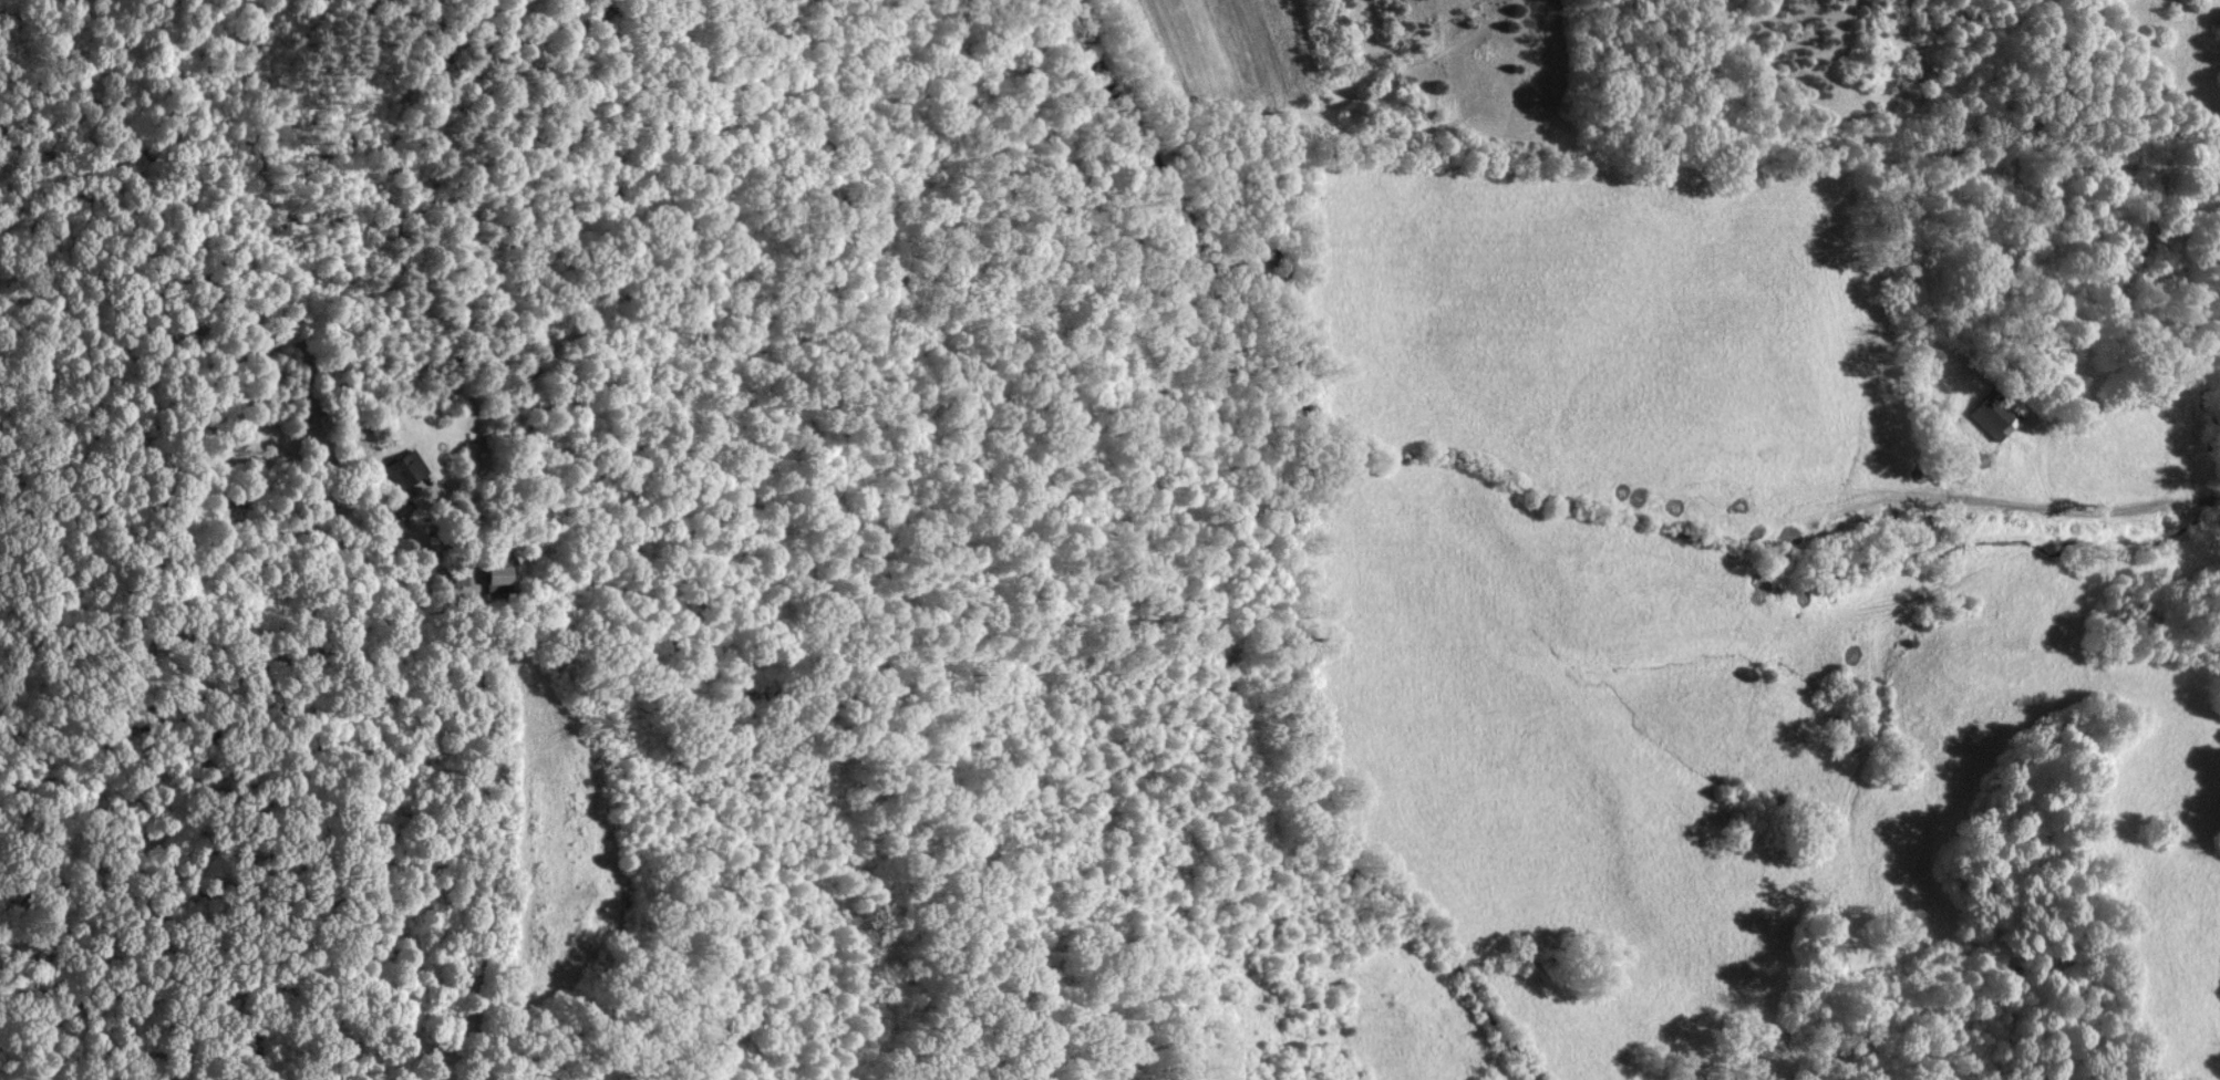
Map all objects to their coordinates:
building: (1992, 412)
building: (403, 467)
building: (496, 573)

